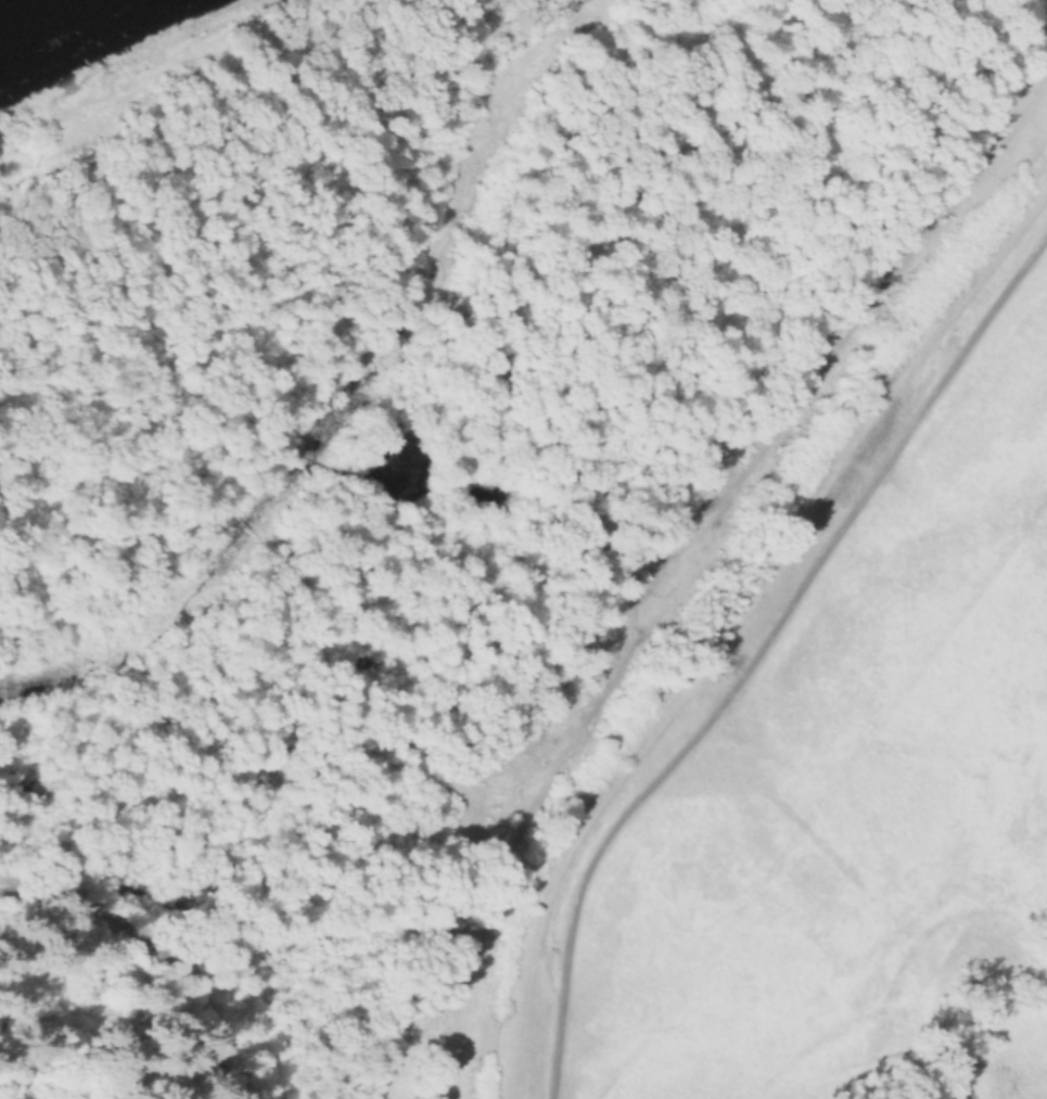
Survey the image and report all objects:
road: (758, 657)
road: (156, 947)

